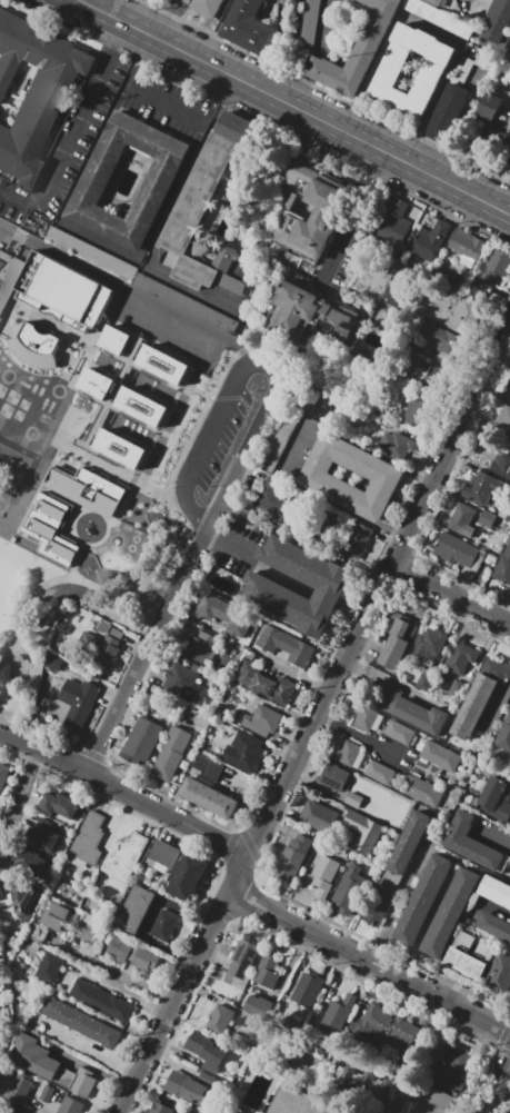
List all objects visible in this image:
road: (88, 2)
building: (437, 2)
building: (206, 7)
building: (500, 9)
road: (131, 12)
road: (168, 20)
building: (247, 27)
building: (491, 28)
building: (357, 52)
building: (508, 54)
road: (134, 59)
building: (387, 72)
building: (33, 97)
road: (218, 100)
road: (166, 105)
building: (488, 106)
road: (292, 108)
building: (448, 110)
road: (79, 116)
building: (497, 131)
building: (509, 163)
building: (157, 180)
building: (203, 197)
road: (17, 198)
road: (353, 213)
building: (310, 222)
building: (396, 226)
road: (97, 240)
building: (434, 240)
building: (467, 244)
building: (82, 248)
building: (223, 257)
building: (493, 269)
building: (8, 275)
parking lot: (232, 284)
road: (128, 289)
building: (299, 300)
parking lot: (189, 304)
building: (52, 312)
building: (467, 318)
building: (333, 322)
parking lot: (169, 326)
building: (114, 339)
building: (448, 346)
building: (161, 364)
road: (262, 367)
building: (432, 379)
building: (96, 381)
building: (509, 400)
building: (140, 406)
building: (417, 411)
road: (200, 414)
building: (504, 418)
road: (258, 420)
parking lot: (218, 433)
road: (302, 441)
road: (202, 445)
building: (396, 445)
building: (119, 447)
building: (273, 453)
building: (501, 464)
building: (382, 476)
road: (420, 477)
building: (480, 488)
building: (86, 489)
building: (270, 501)
park: (1, 505)
building: (460, 519)
building: (487, 519)
building: (48, 526)
building: (323, 526)
road: (387, 529)
road: (171, 536)
building: (356, 538)
road: (200, 539)
road: (228, 543)
building: (454, 551)
road: (397, 554)
road: (73, 563)
building: (503, 568)
road: (66, 577)
building: (322, 582)
park: (14, 587)
road: (449, 597)
building: (224, 614)
road: (507, 616)
building: (428, 644)
building: (284, 646)
building: (393, 647)
building: (202, 649)
building: (106, 655)
building: (460, 658)
building: (496, 669)
building: (244, 674)
road: (301, 675)
road: (13, 680)
building: (424, 684)
building: (184, 685)
building: (273, 689)
road: (122, 694)
building: (386, 696)
building: (78, 702)
road: (500, 707)
building: (471, 709)
building: (369, 717)
building: (421, 717)
building: (507, 717)
building: (261, 722)
road: (4, 724)
building: (399, 733)
building: (502, 738)
building: (141, 742)
building: (243, 749)
building: (344, 753)
building: (169, 755)
building: (441, 756)
road: (69, 763)
building: (207, 766)
building: (379, 773)
building: (3, 775)
building: (332, 776)
building: (420, 792)
road: (17, 798)
building: (207, 799)
building: (354, 799)
building: (494, 801)
road: (272, 802)
road: (151, 804)
building: (61, 807)
building: (314, 815)
road: (187, 824)
road: (493, 831)
building: (362, 832)
road: (257, 833)
building: (43, 839)
building: (88, 841)
building: (471, 843)
road: (227, 844)
building: (404, 852)
building: (161, 856)
building: (123, 858)
building: (290, 859)
road: (240, 867)
building: (31, 868)
building: (324, 873)
building: (184, 878)
road: (1, 883)
building: (496, 891)
building: (346, 894)
building: (24, 901)
building: (422, 902)
road: (256, 903)
building: (377, 910)
building: (133, 911)
road: (218, 914)
building: (449, 914)
building: (56, 917)
road: (291, 922)
building: (164, 925)
building: (493, 927)
building: (97, 934)
road: (316, 934)
building: (118, 950)
building: (468, 957)
building: (143, 960)
road: (196, 960)
building: (240, 965)
building: (48, 967)
road: (114, 971)
building: (266, 973)
building: (497, 974)
road: (420, 987)
building: (304, 994)
building: (101, 1002)
road: (173, 1003)
building: (252, 1005)
building: (337, 1013)
building: (219, 1020)
building: (372, 1020)
building: (80, 1024)
building: (201, 1045)
building: (32, 1056)
road: (140, 1069)
building: (453, 1072)
building: (63, 1076)
building: (82, 1082)
building: (370, 1086)
building: (186, 1087)
road: (496, 1087)
building: (22, 1089)
building: (46, 1094)
building: (436, 1097)
building: (297, 1102)
building: (70, 1105)
building: (163, 1106)
building: (183, 1112)
building: (192, 1112)

